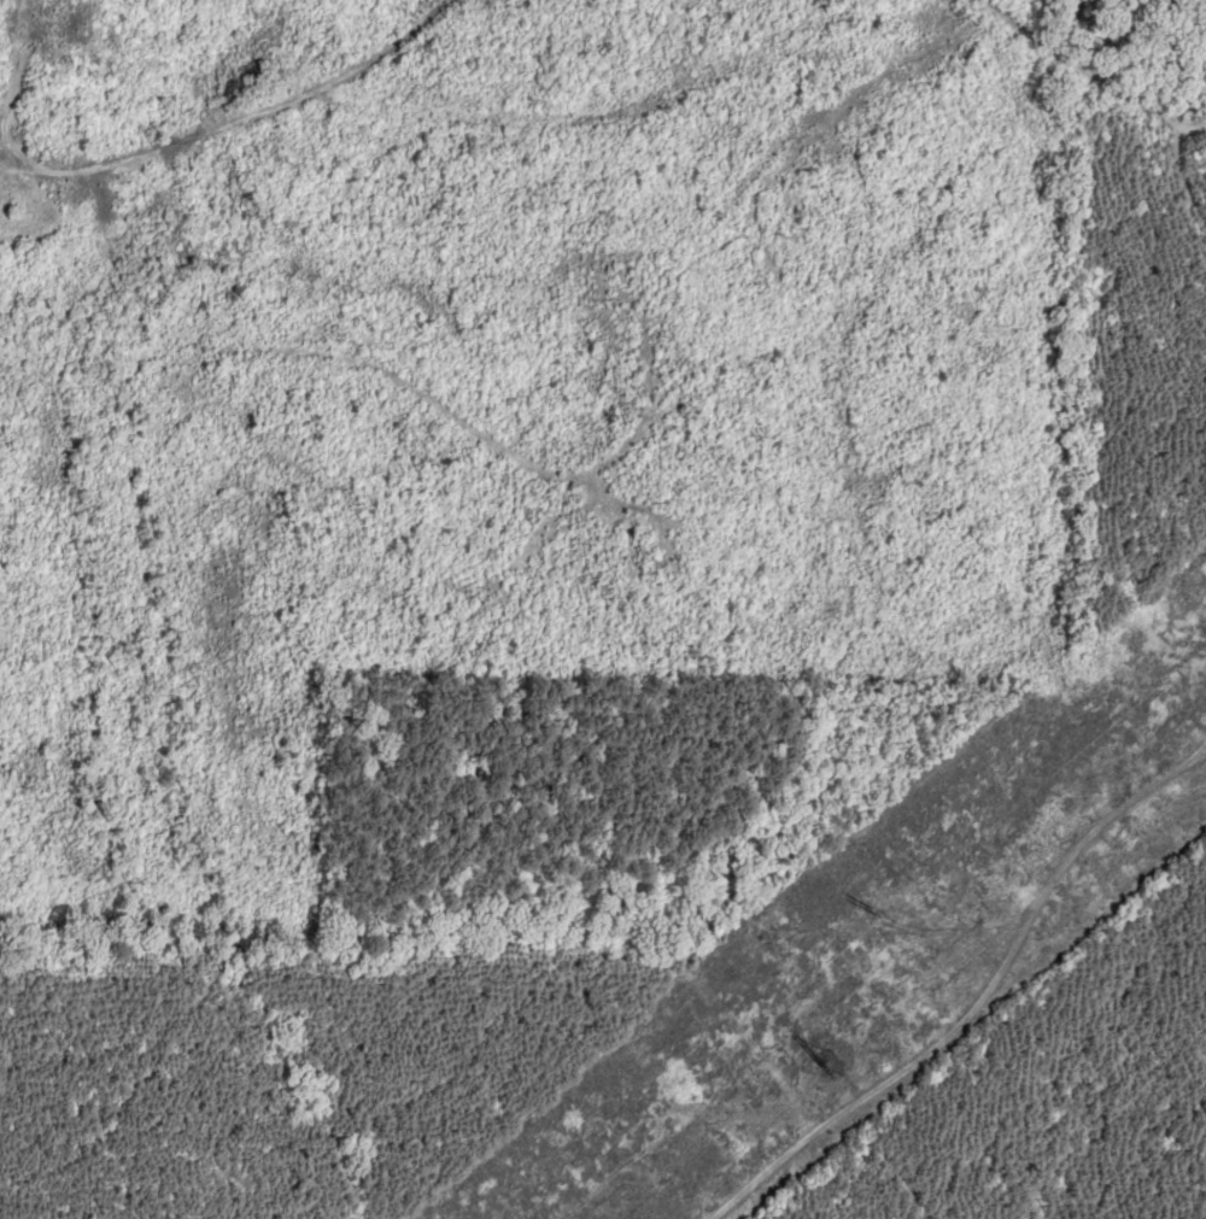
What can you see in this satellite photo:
power tower: (824, 1066)

